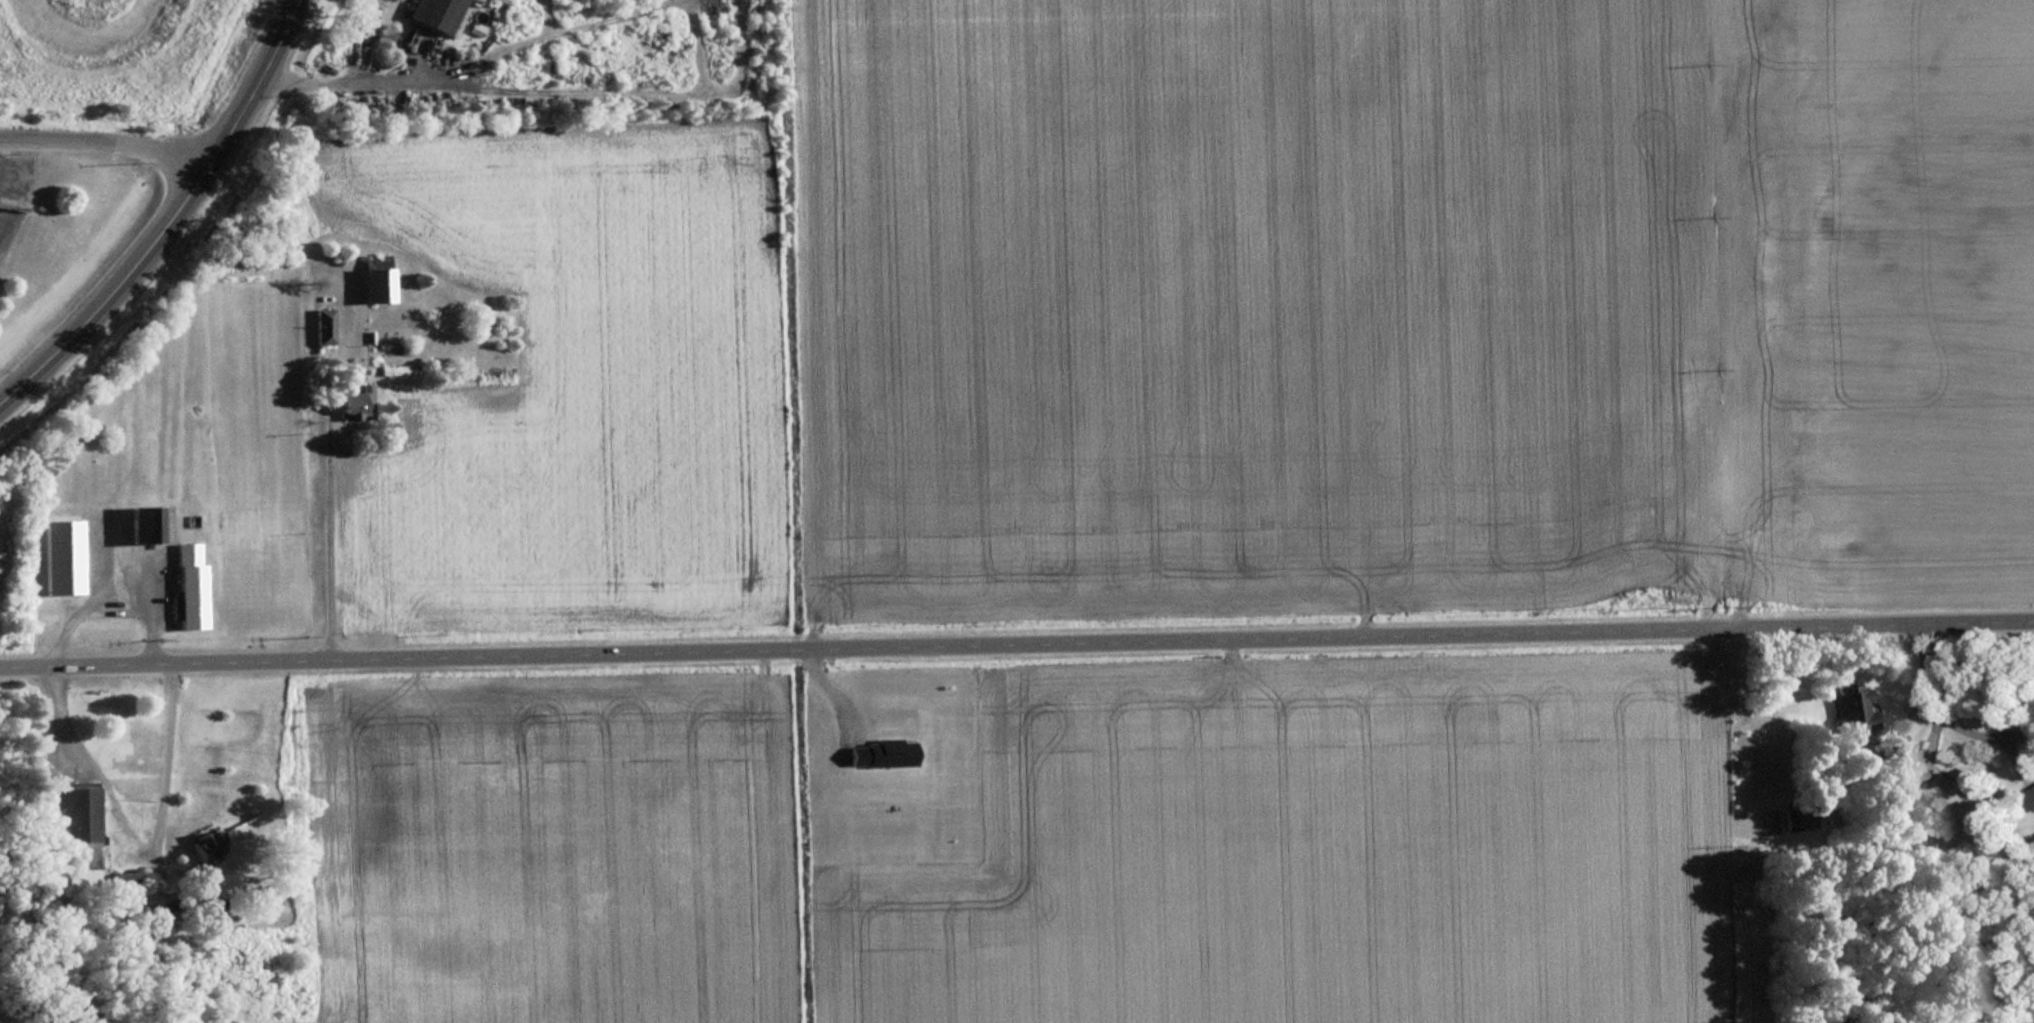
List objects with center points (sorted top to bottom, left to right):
building: (437, 15)
road: (271, 46)
railway: (20, 153)
road: (142, 262)
building: (374, 286)
building: (324, 327)
building: (356, 404)
road: (328, 481)
building: (145, 525)
building: (61, 558)
building: (190, 587)
road: (1016, 642)
road: (761, 665)
building: (1852, 707)
road: (1943, 717)
building: (2030, 798)
building: (1951, 800)
building: (1793, 821)
building: (77, 837)
building: (206, 847)
building: (125, 884)
building: (266, 897)

